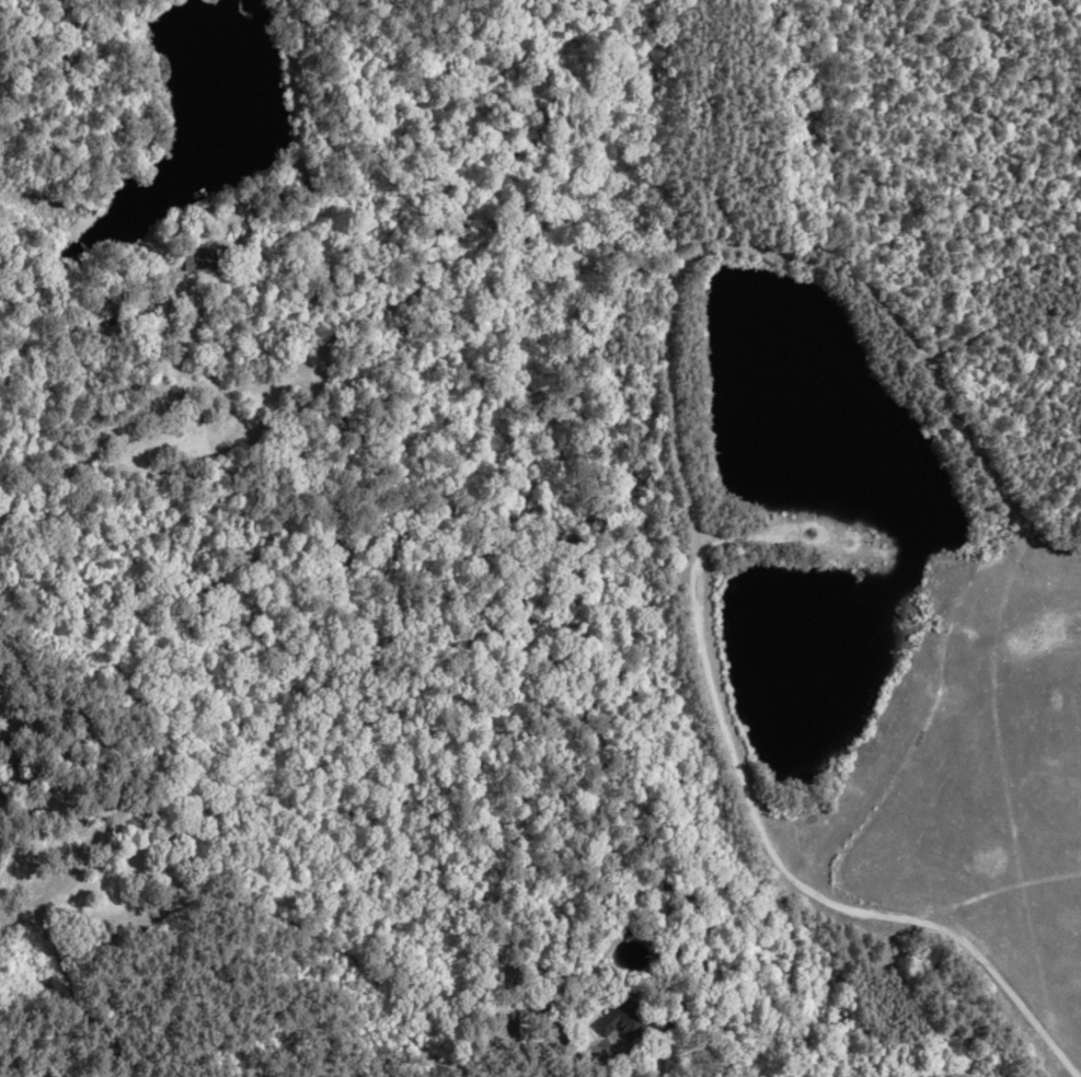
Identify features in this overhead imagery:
road: (180, 294)
road: (233, 393)
building: (330, 420)
road: (100, 442)
road: (795, 887)
road: (527, 1008)

